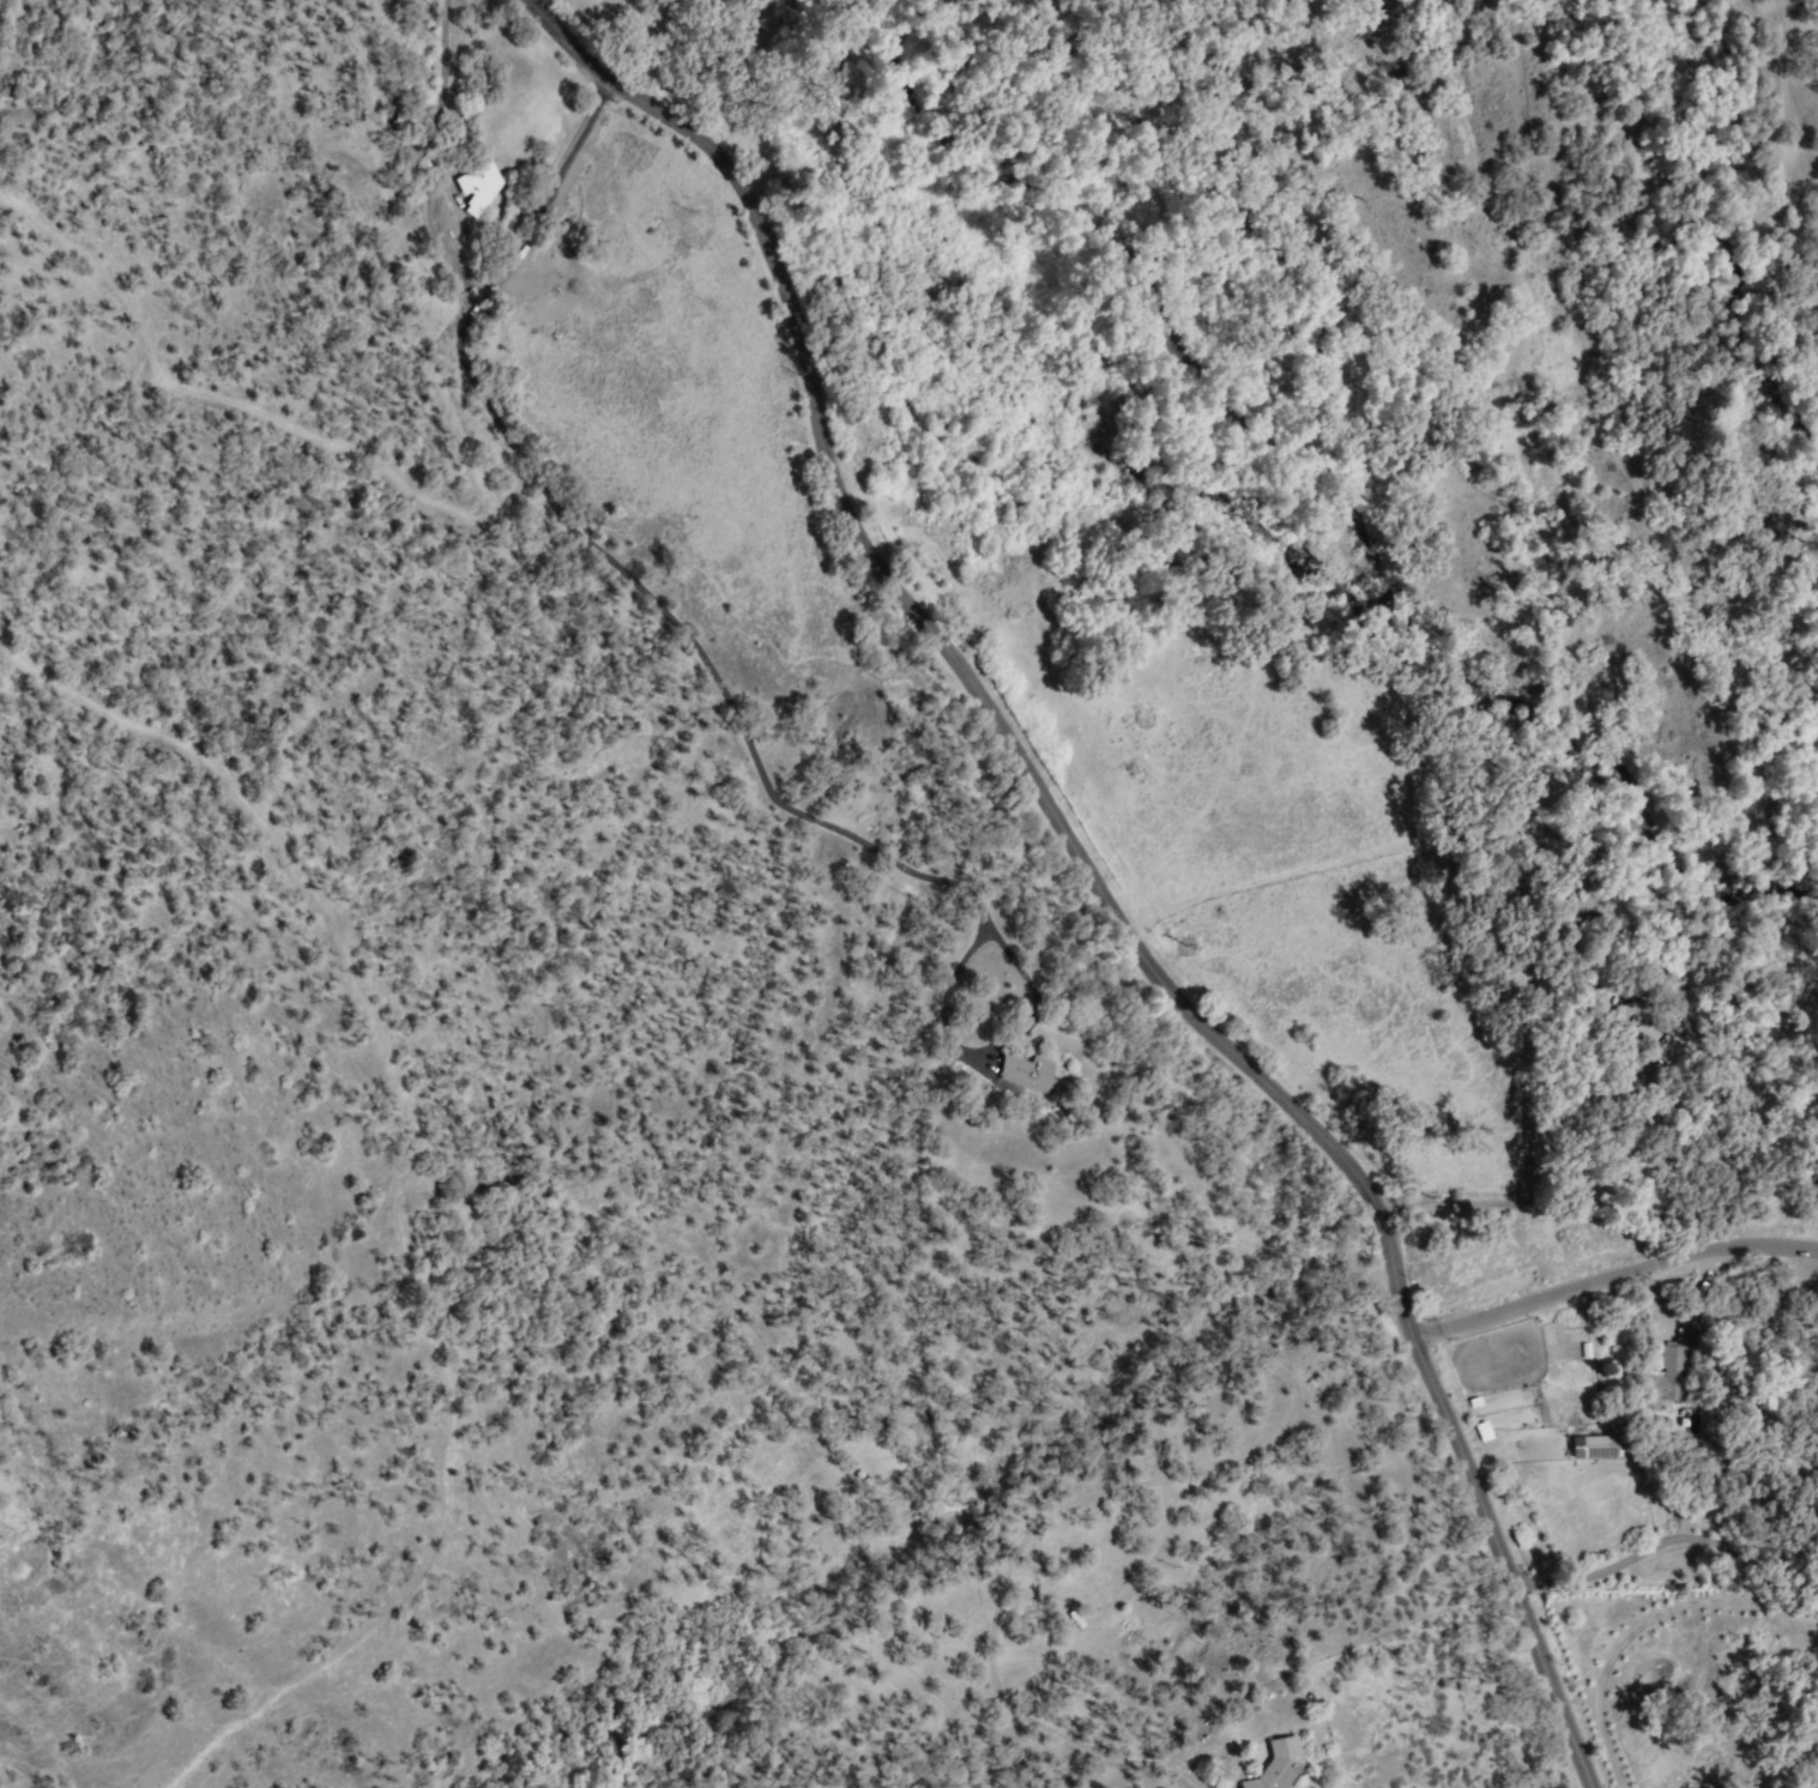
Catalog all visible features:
building: (476, 185)
river: (1758, 212)
road: (641, 676)
road: (1087, 870)
building: (1643, 1029)
building: (1662, 1049)
building: (1027, 1074)
road: (1614, 1274)
building: (1665, 1378)
building: (1597, 1446)
road: (1641, 1631)
building: (1280, 1764)

